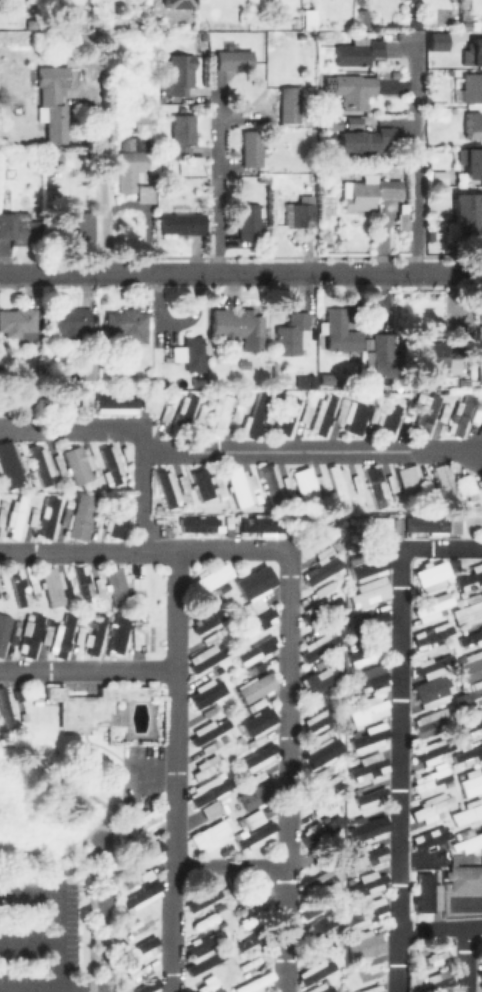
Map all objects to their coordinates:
building: (175, 3)
building: (362, 19)
building: (307, 21)
building: (31, 23)
building: (466, 26)
building: (437, 40)
building: (474, 53)
building: (359, 54)
building: (234, 59)
building: (181, 74)
building: (471, 89)
building: (353, 92)
building: (52, 100)
building: (290, 104)
building: (329, 123)
building: (145, 124)
building: (474, 125)
building: (183, 136)
building: (364, 142)
building: (252, 148)
building: (74, 154)
building: (23, 155)
building: (56, 157)
road: (414, 163)
building: (472, 164)
building: (135, 168)
building: (343, 172)
road: (215, 178)
road: (102, 184)
building: (375, 190)
building: (301, 213)
building: (468, 215)
building: (248, 221)
building: (403, 221)
building: (183, 223)
building: (18, 228)
building: (77, 228)
road: (48, 271)
road: (289, 271)
building: (71, 319)
building: (17, 321)
building: (127, 324)
building: (239, 328)
building: (338, 330)
building: (291, 334)
building: (480, 338)
building: (450, 351)
building: (190, 353)
building: (384, 357)
building: (244, 360)
building: (91, 372)
building: (480, 374)
building: (307, 383)
building: (466, 383)
building: (375, 389)
building: (114, 402)
building: (183, 408)
building: (216, 413)
building: (284, 414)
building: (320, 414)
building: (424, 414)
building: (458, 414)
building: (252, 416)
building: (352, 416)
building: (385, 417)
road: (81, 427)
road: (312, 449)
building: (77, 463)
building: (108, 465)
building: (41, 466)
building: (8, 467)
building: (411, 480)
building: (440, 480)
building: (199, 483)
building: (302, 483)
building: (319, 483)
building: (274, 484)
building: (337, 484)
building: (163, 485)
building: (374, 485)
building: (241, 487)
road: (142, 498)
building: (2, 515)
building: (17, 515)
building: (34, 515)
building: (80, 517)
building: (119, 518)
building: (49, 519)
building: (433, 520)
building: (197, 524)
building: (258, 524)
building: (367, 524)
building: (321, 536)
road: (144, 548)
building: (369, 565)
building: (319, 570)
building: (431, 573)
building: (208, 578)
building: (252, 581)
building: (470, 582)
building: (84, 585)
building: (117, 585)
building: (3, 586)
building: (67, 586)
building: (100, 586)
building: (16, 587)
building: (35, 587)
building: (52, 588)
building: (369, 593)
building: (437, 604)
building: (469, 610)
building: (205, 620)
building: (258, 620)
building: (372, 623)
building: (470, 627)
building: (3, 630)
building: (14, 633)
building: (79, 633)
building: (46, 634)
building: (96, 634)
building: (136, 634)
building: (433, 634)
building: (33, 635)
building: (119, 635)
building: (63, 636)
building: (473, 639)
building: (317, 646)
building: (254, 650)
building: (370, 655)
building: (204, 656)
building: (434, 664)
building: (472, 665)
road: (87, 667)
building: (319, 679)
building: (371, 681)
building: (253, 686)
building: (432, 686)
building: (205, 692)
building: (468, 697)
building: (92, 704)
building: (5, 708)
building: (368, 710)
building: (256, 721)
building: (431, 725)
road: (397, 726)
building: (468, 726)
building: (207, 729)
building: (369, 740)
building: (434, 749)
building: (469, 754)
building: (255, 757)
building: (370, 767)
road: (174, 770)
road: (286, 770)
building: (433, 780)
building: (472, 781)
building: (206, 789)
building: (254, 794)
building: (372, 799)
building: (433, 808)
building: (209, 809)
building: (466, 814)
building: (142, 820)
building: (329, 825)
building: (367, 829)
building: (208, 836)
building: (255, 836)
building: (431, 840)
building: (469, 843)
building: (144, 855)
building: (364, 857)
road: (229, 866)
building: (322, 877)
building: (465, 878)
building: (366, 882)
building: (139, 896)
building: (427, 896)
building: (201, 899)
road: (61, 911)
building: (370, 912)
road: (105, 916)
building: (316, 925)
road: (439, 928)
building: (481, 940)
road: (30, 941)
building: (197, 942)
building: (246, 944)
building: (365, 945)
building: (481, 945)
building: (141, 948)
building: (437, 956)
road: (462, 959)
building: (200, 961)
building: (314, 970)
building: (481, 971)
building: (253, 983)
building: (434, 984)
building: (147, 986)
building: (317, 988)
road: (52, 989)
building: (378, 990)

